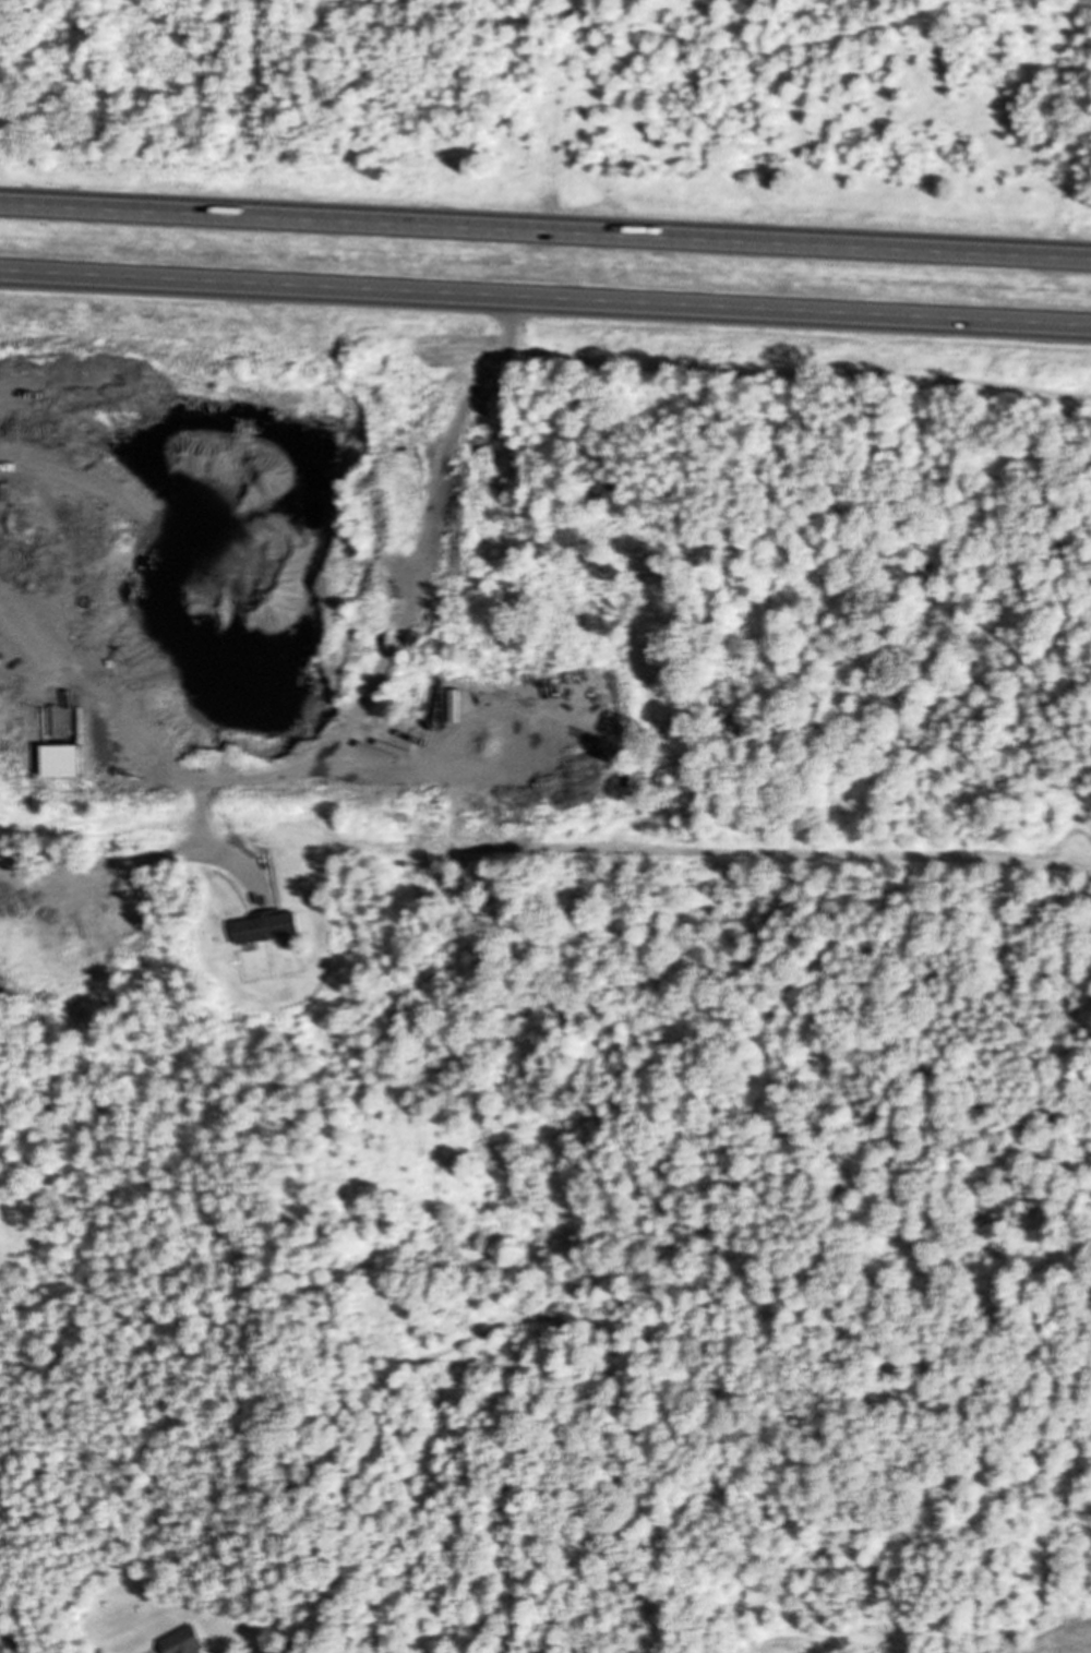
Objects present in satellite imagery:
road: (545, 230)
road: (545, 299)
building: (273, 929)
building: (190, 1642)

